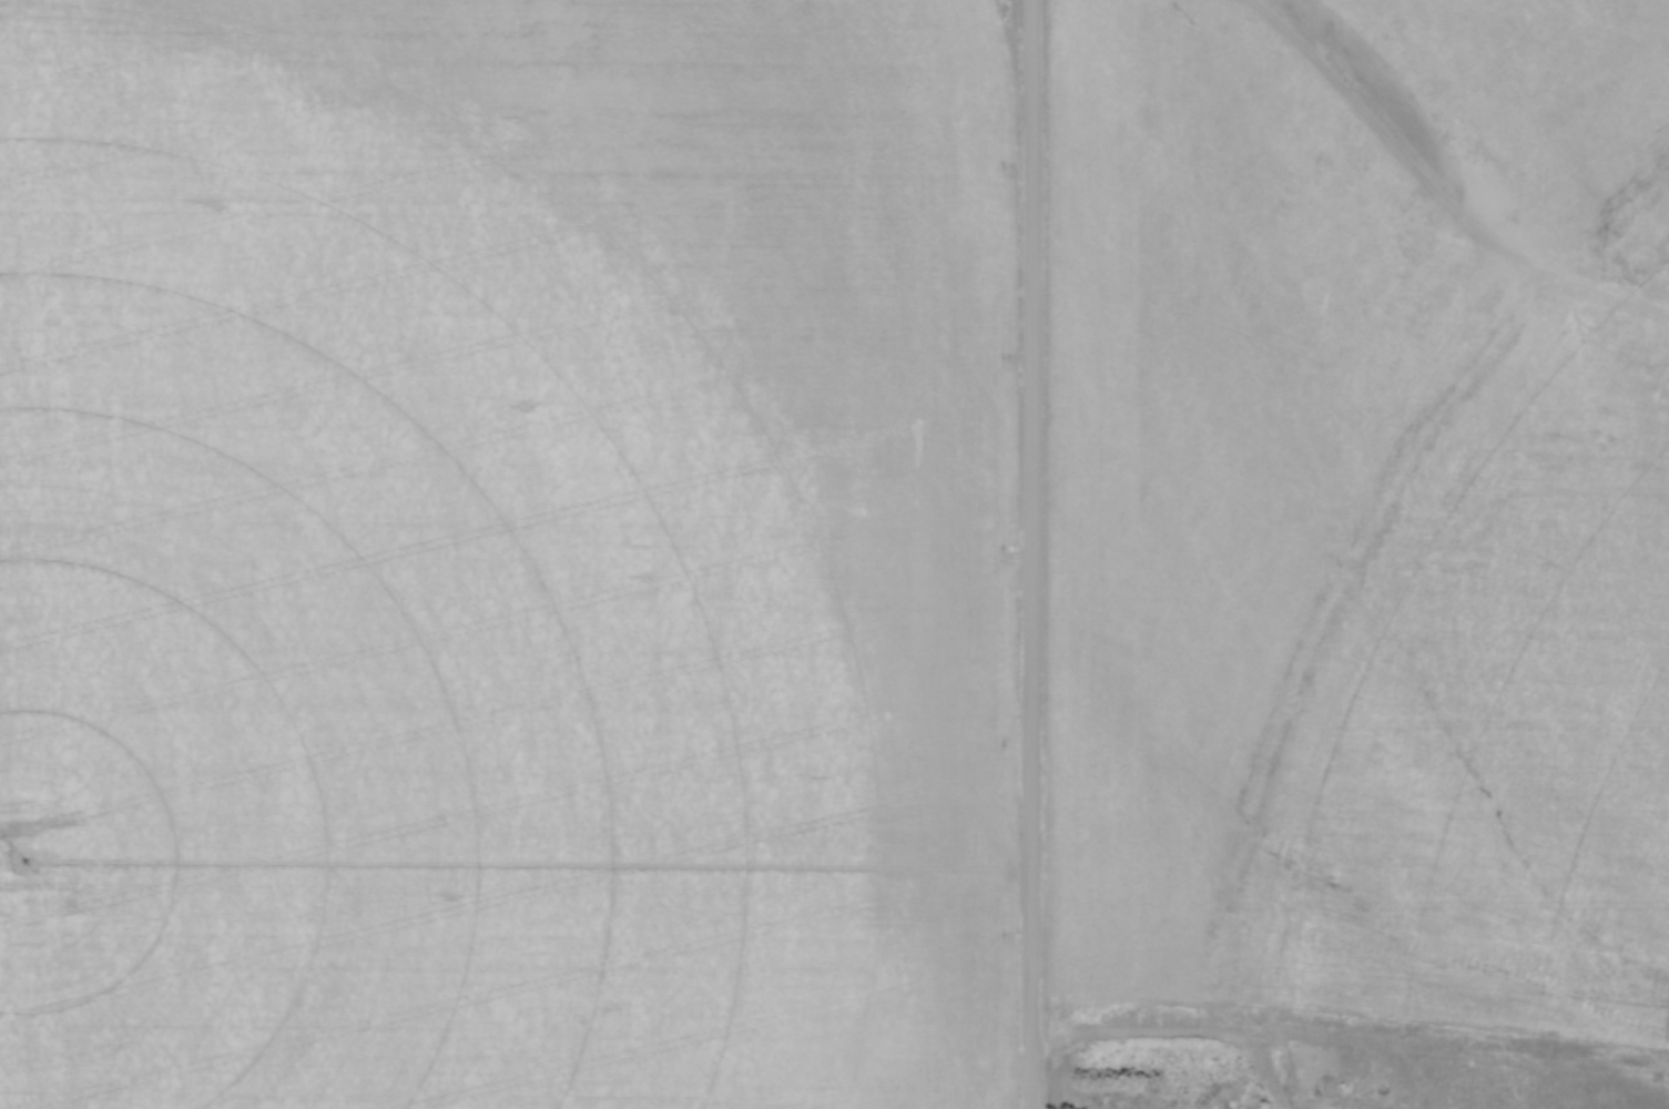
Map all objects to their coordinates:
crop: (1364, 539)
crop: (508, 554)
road: (1032, 554)

